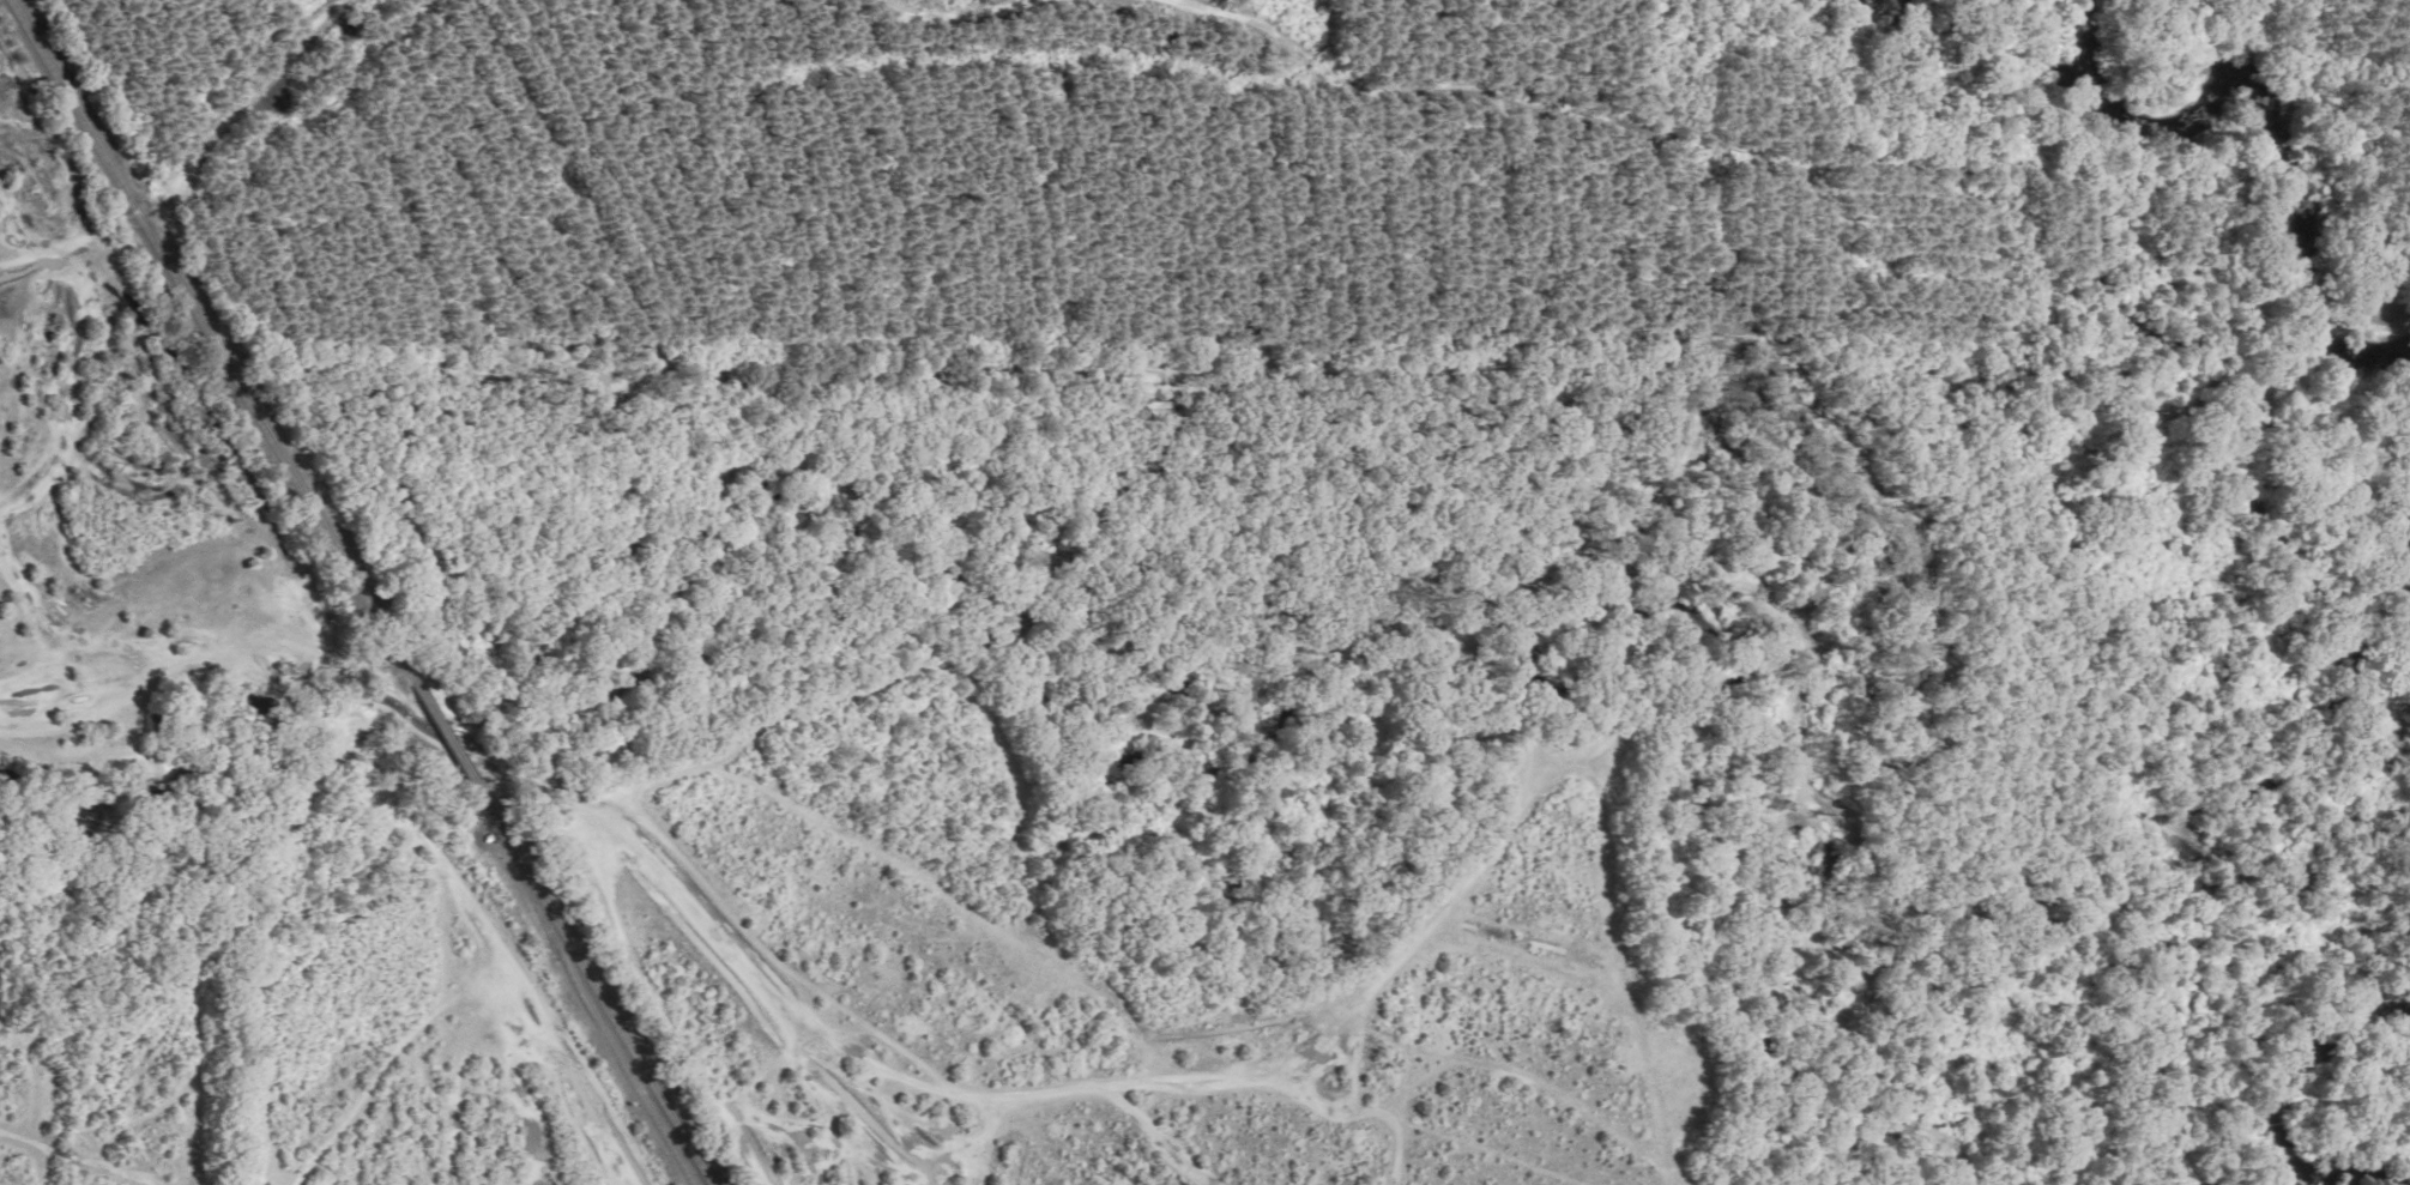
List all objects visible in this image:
railway: (362, 592)
railway: (581, 1000)

